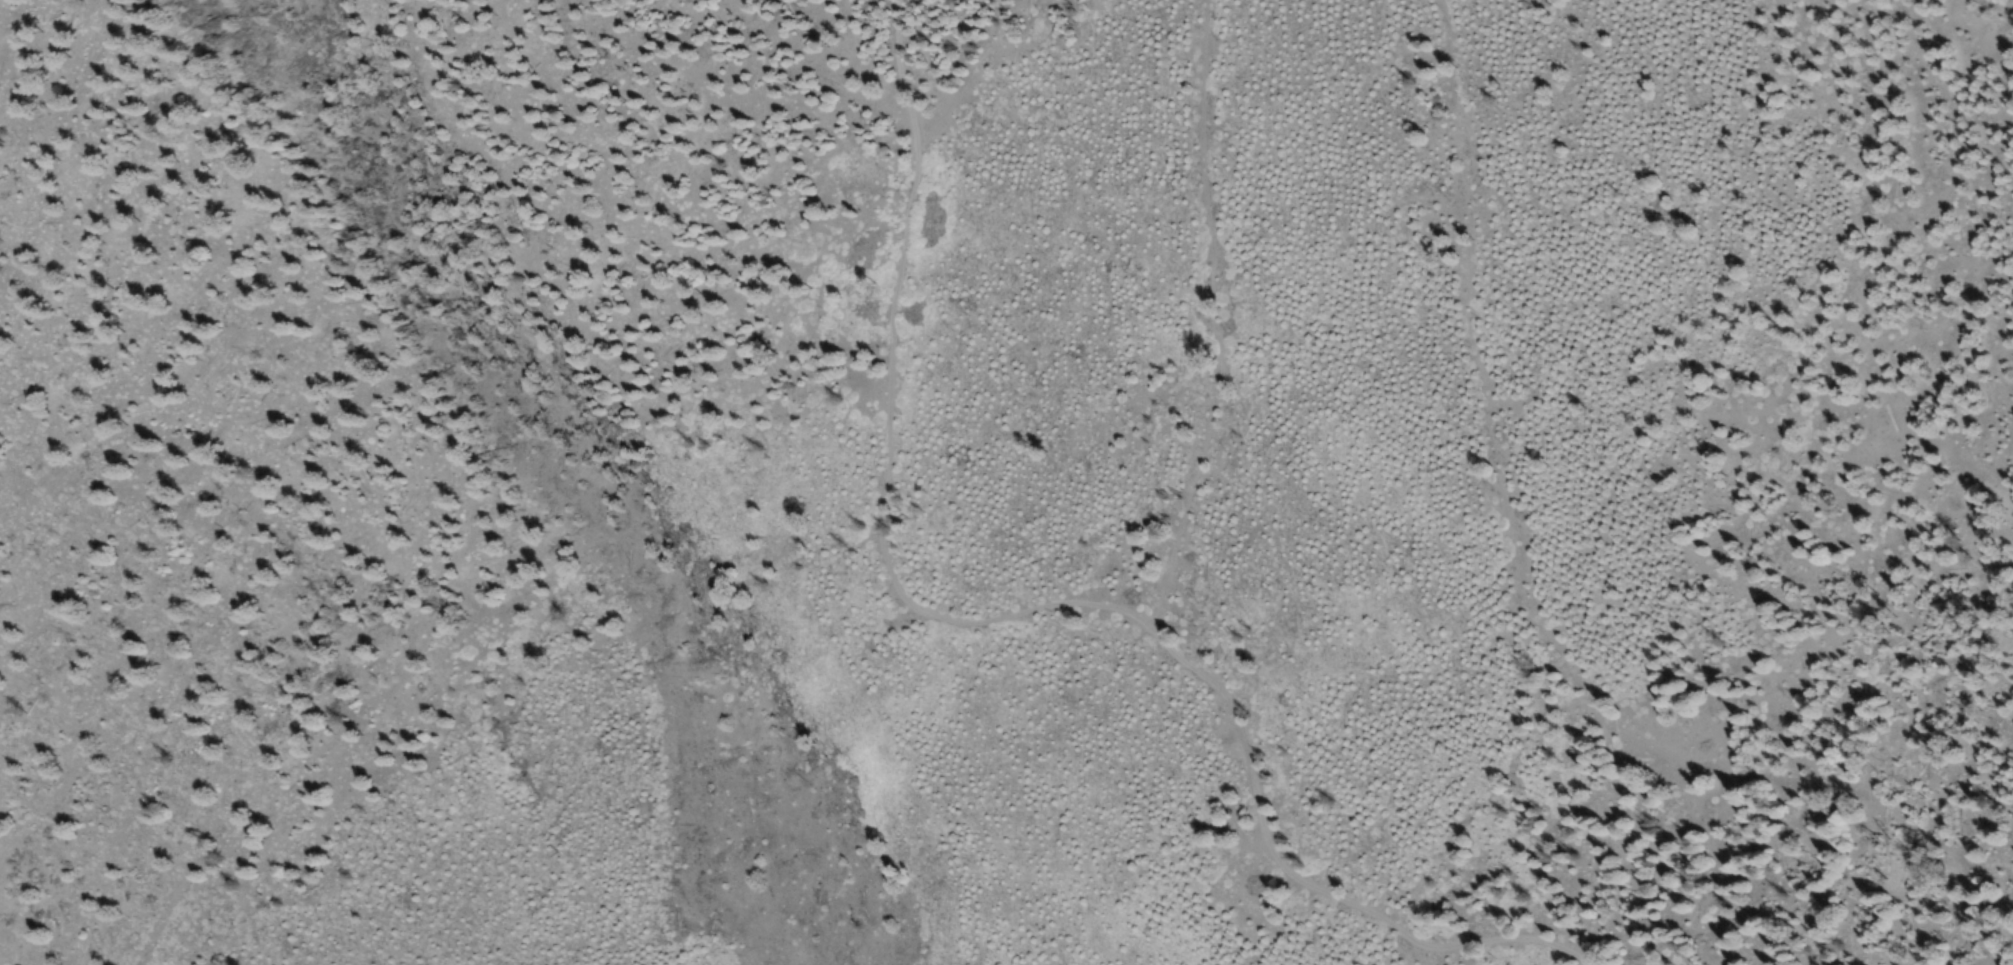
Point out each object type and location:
road: (892, 432)
road: (1518, 582)
road: (1163, 614)

